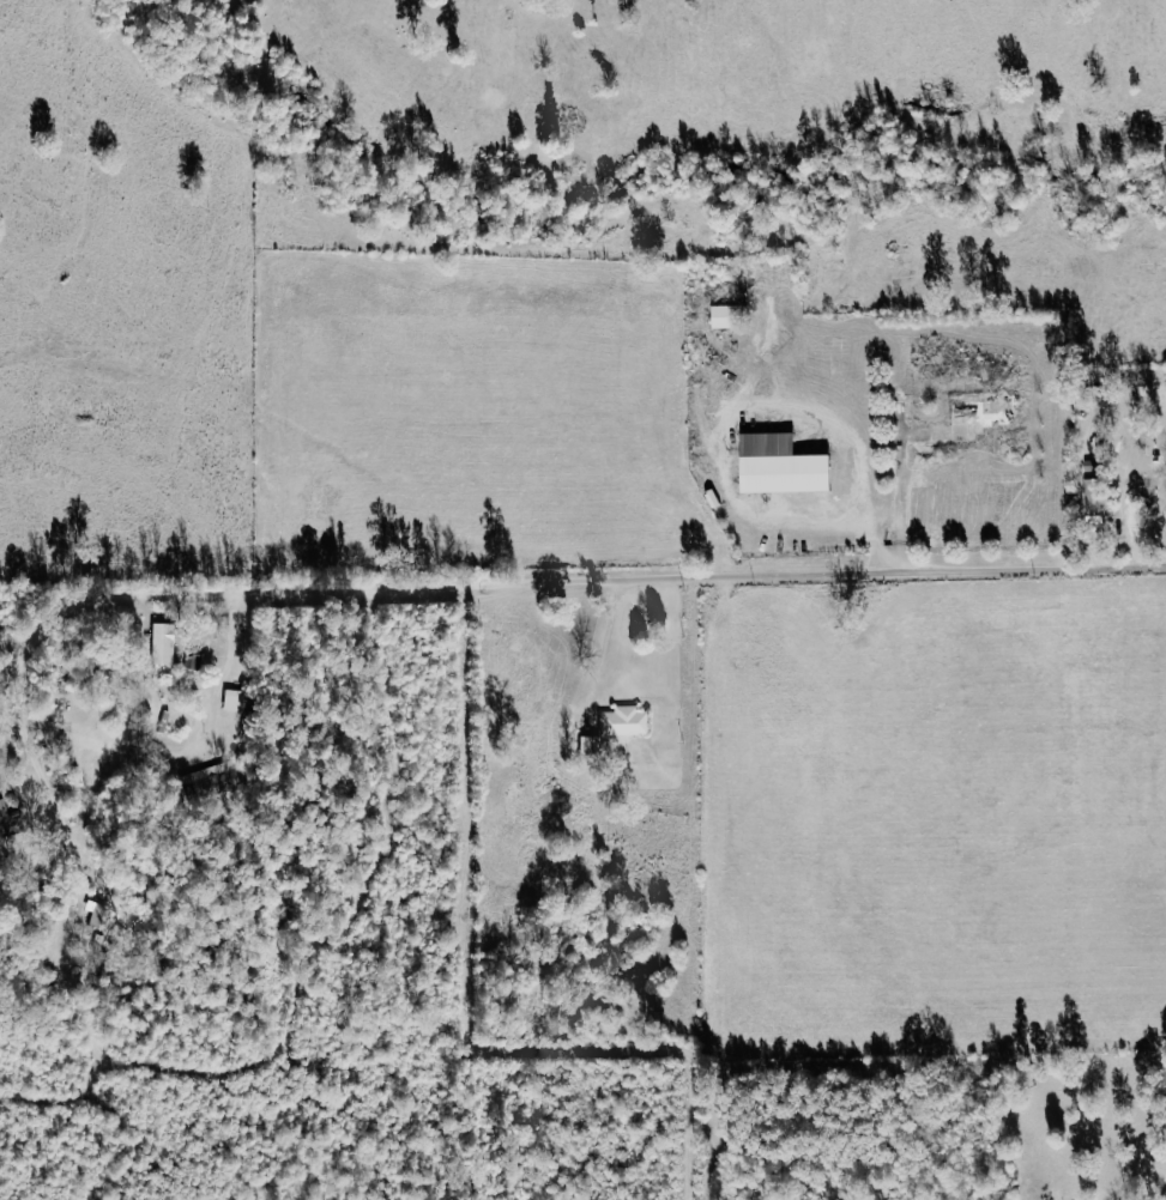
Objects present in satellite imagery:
building: (779, 466)
building: (1096, 499)
road: (579, 581)
building: (163, 643)
road: (235, 649)
road: (616, 649)
road: (23, 702)
building: (623, 722)
building: (211, 782)
road: (52, 790)
building: (103, 915)

